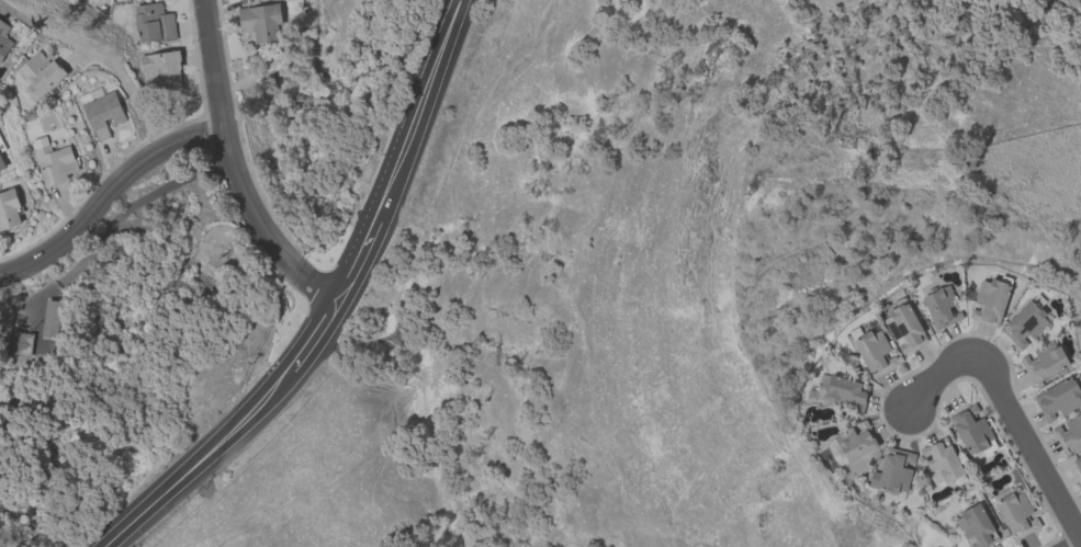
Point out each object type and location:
building: (94, 0)
building: (260, 22)
building: (154, 24)
building: (3, 39)
road: (115, 68)
building: (162, 69)
building: (40, 75)
building: (102, 115)
road: (405, 152)
building: (54, 162)
building: (1, 164)
road: (232, 171)
road: (108, 196)
building: (9, 209)
building: (990, 303)
building: (942, 307)
building: (50, 319)
building: (1024, 326)
building: (904, 329)
road: (318, 337)
building: (21, 344)
building: (875, 354)
building: (1044, 362)
road: (953, 364)
building: (844, 391)
building: (1058, 400)
building: (972, 430)
building: (1069, 435)
building: (852, 443)
road: (1038, 459)
road: (204, 460)
building: (941, 461)
building: (1078, 464)
building: (893, 471)
building: (1017, 515)
building: (976, 526)
road: (1080, 546)

